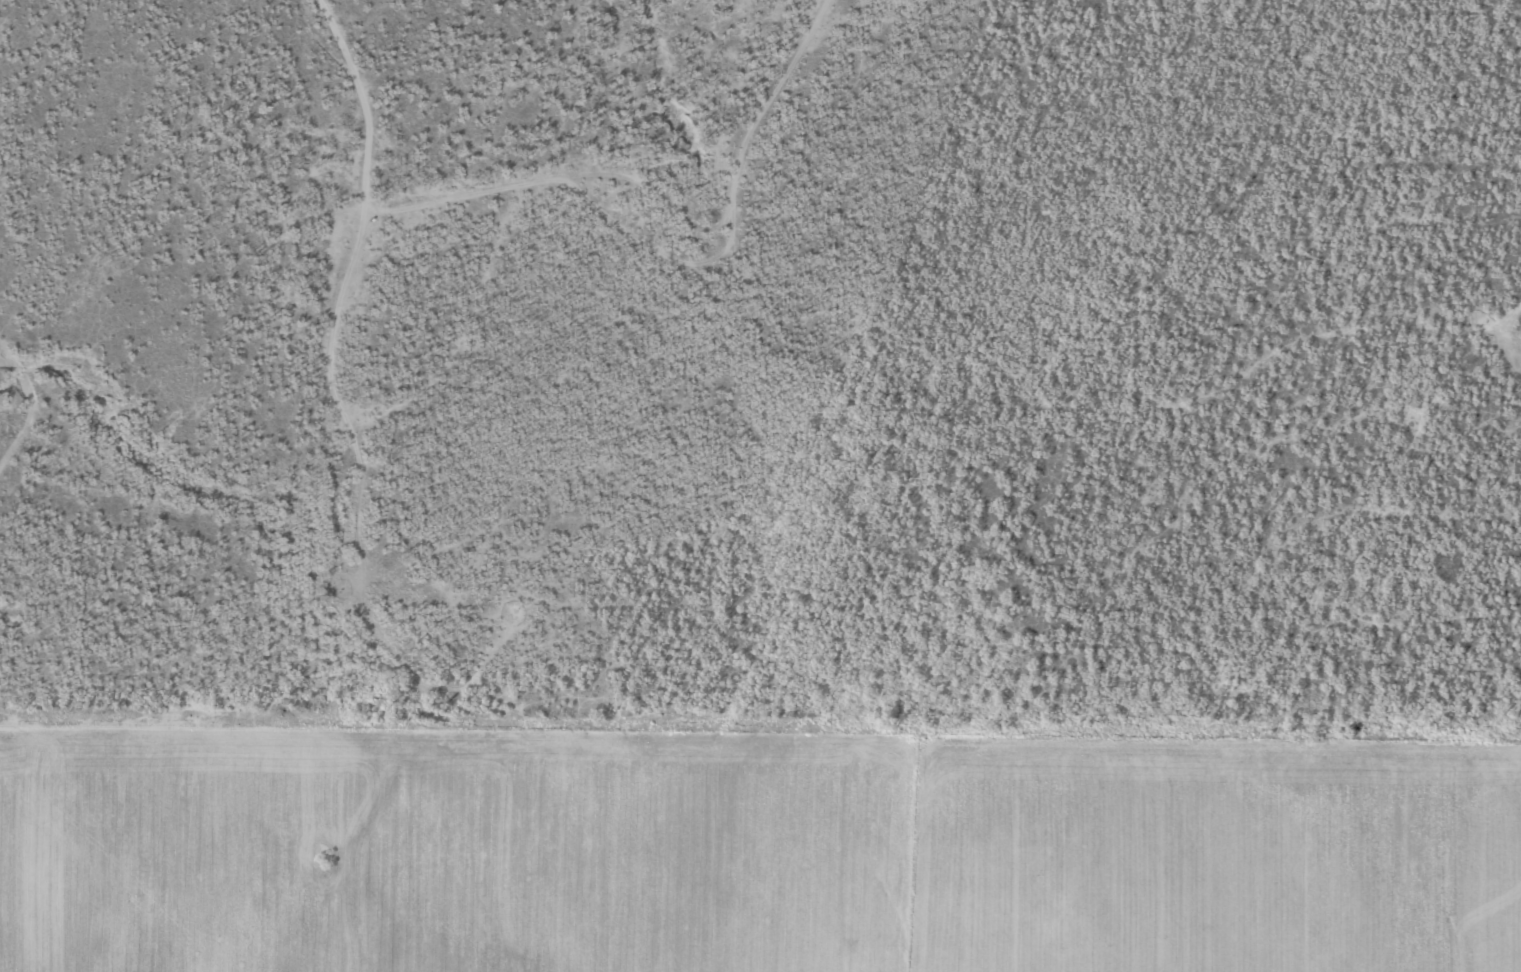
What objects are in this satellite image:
road: (582, 161)

